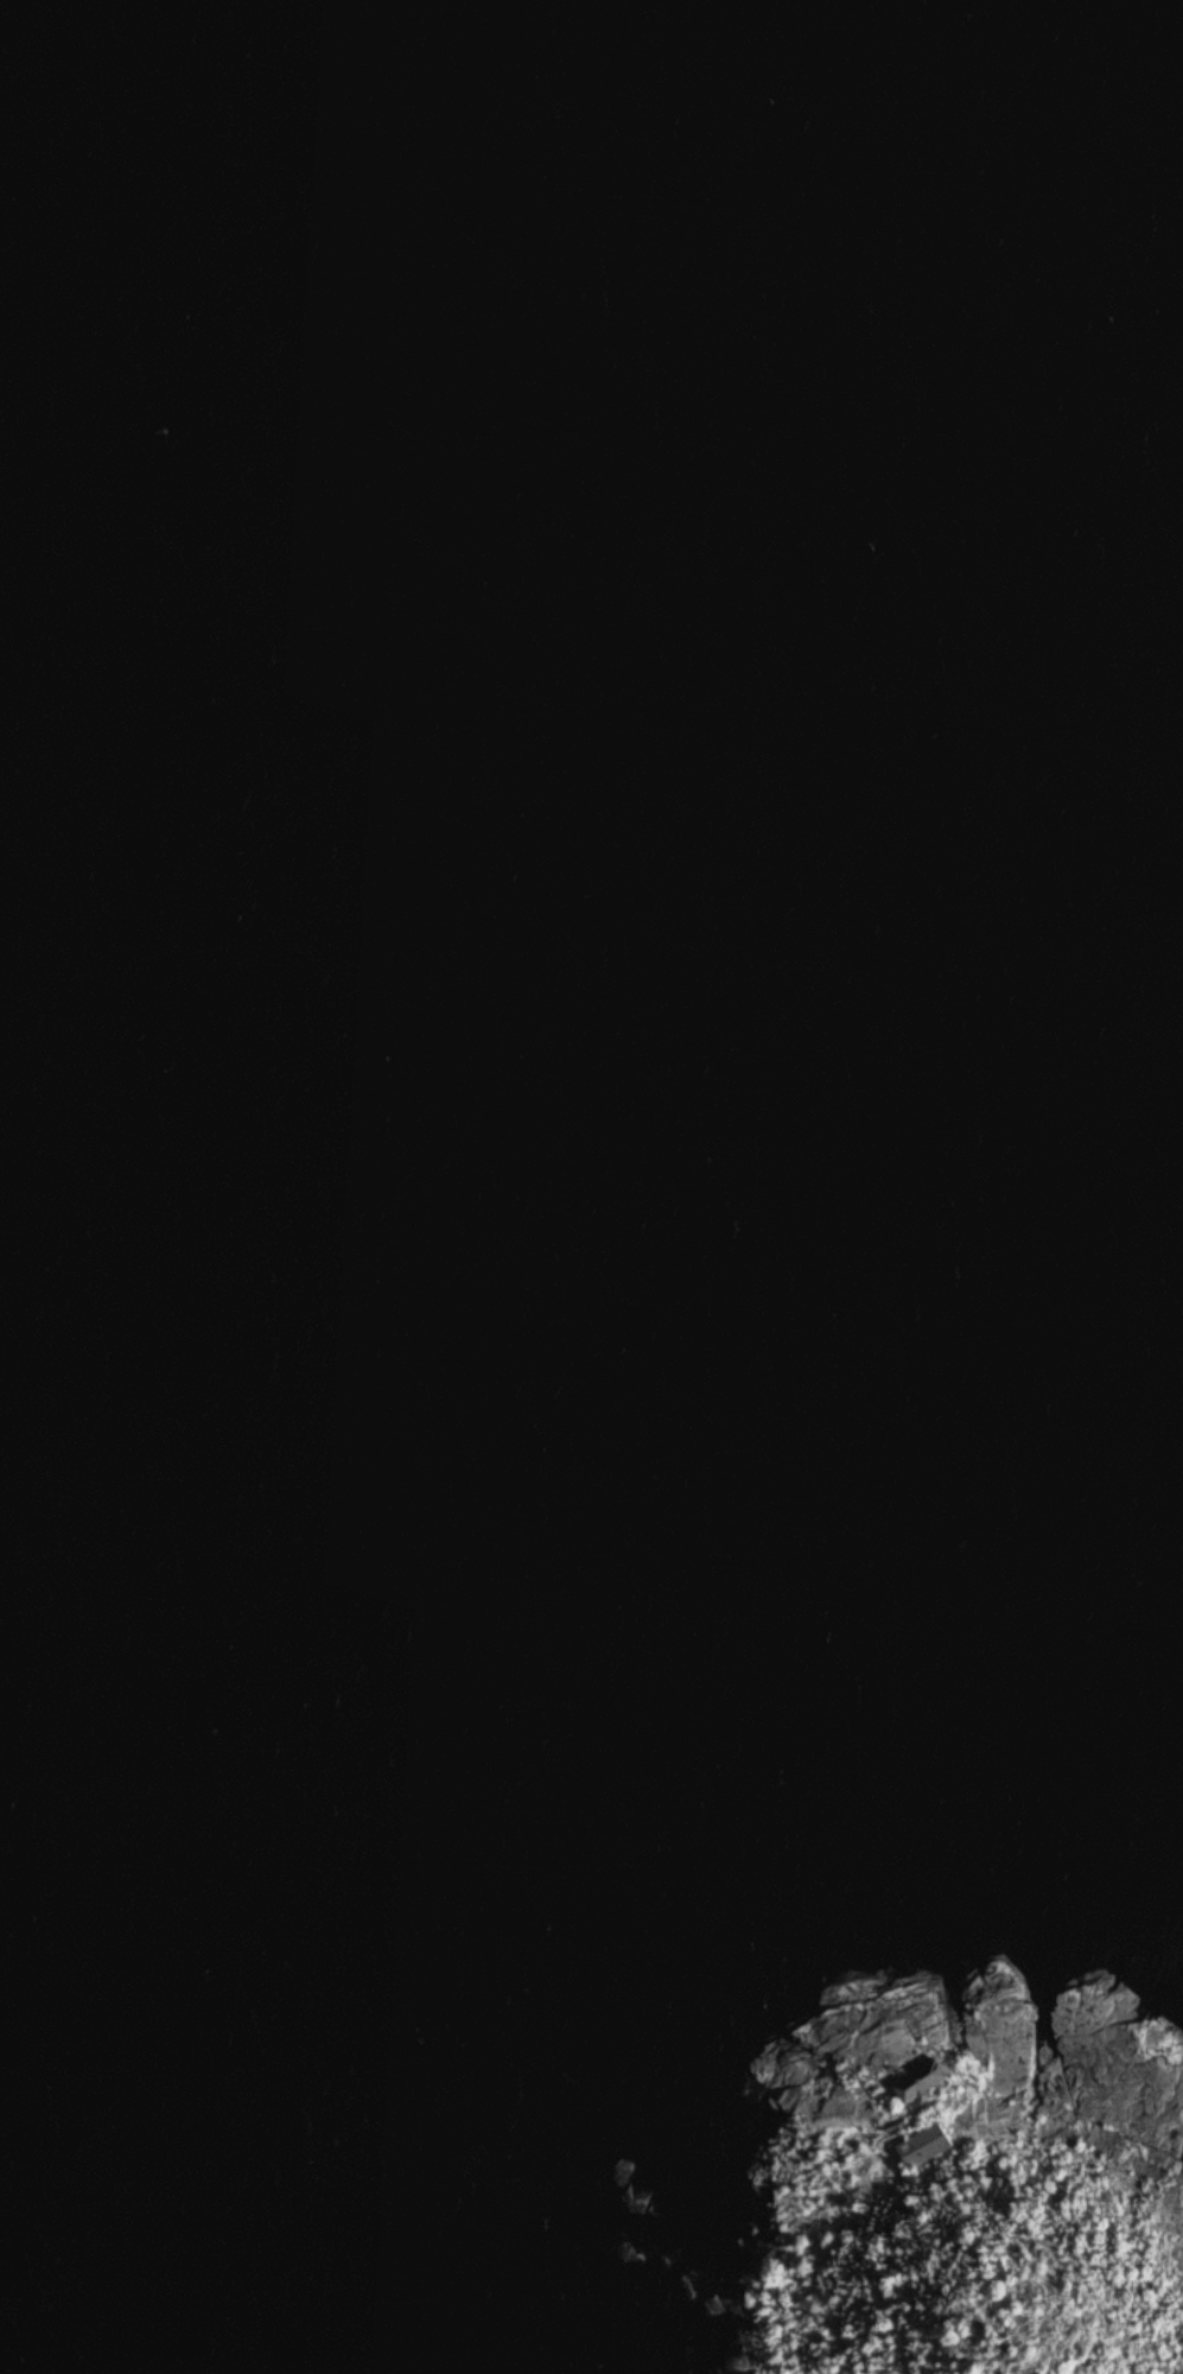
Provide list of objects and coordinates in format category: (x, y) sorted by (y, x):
building: (911, 2074)
building: (909, 2138)
road: (838, 2284)

